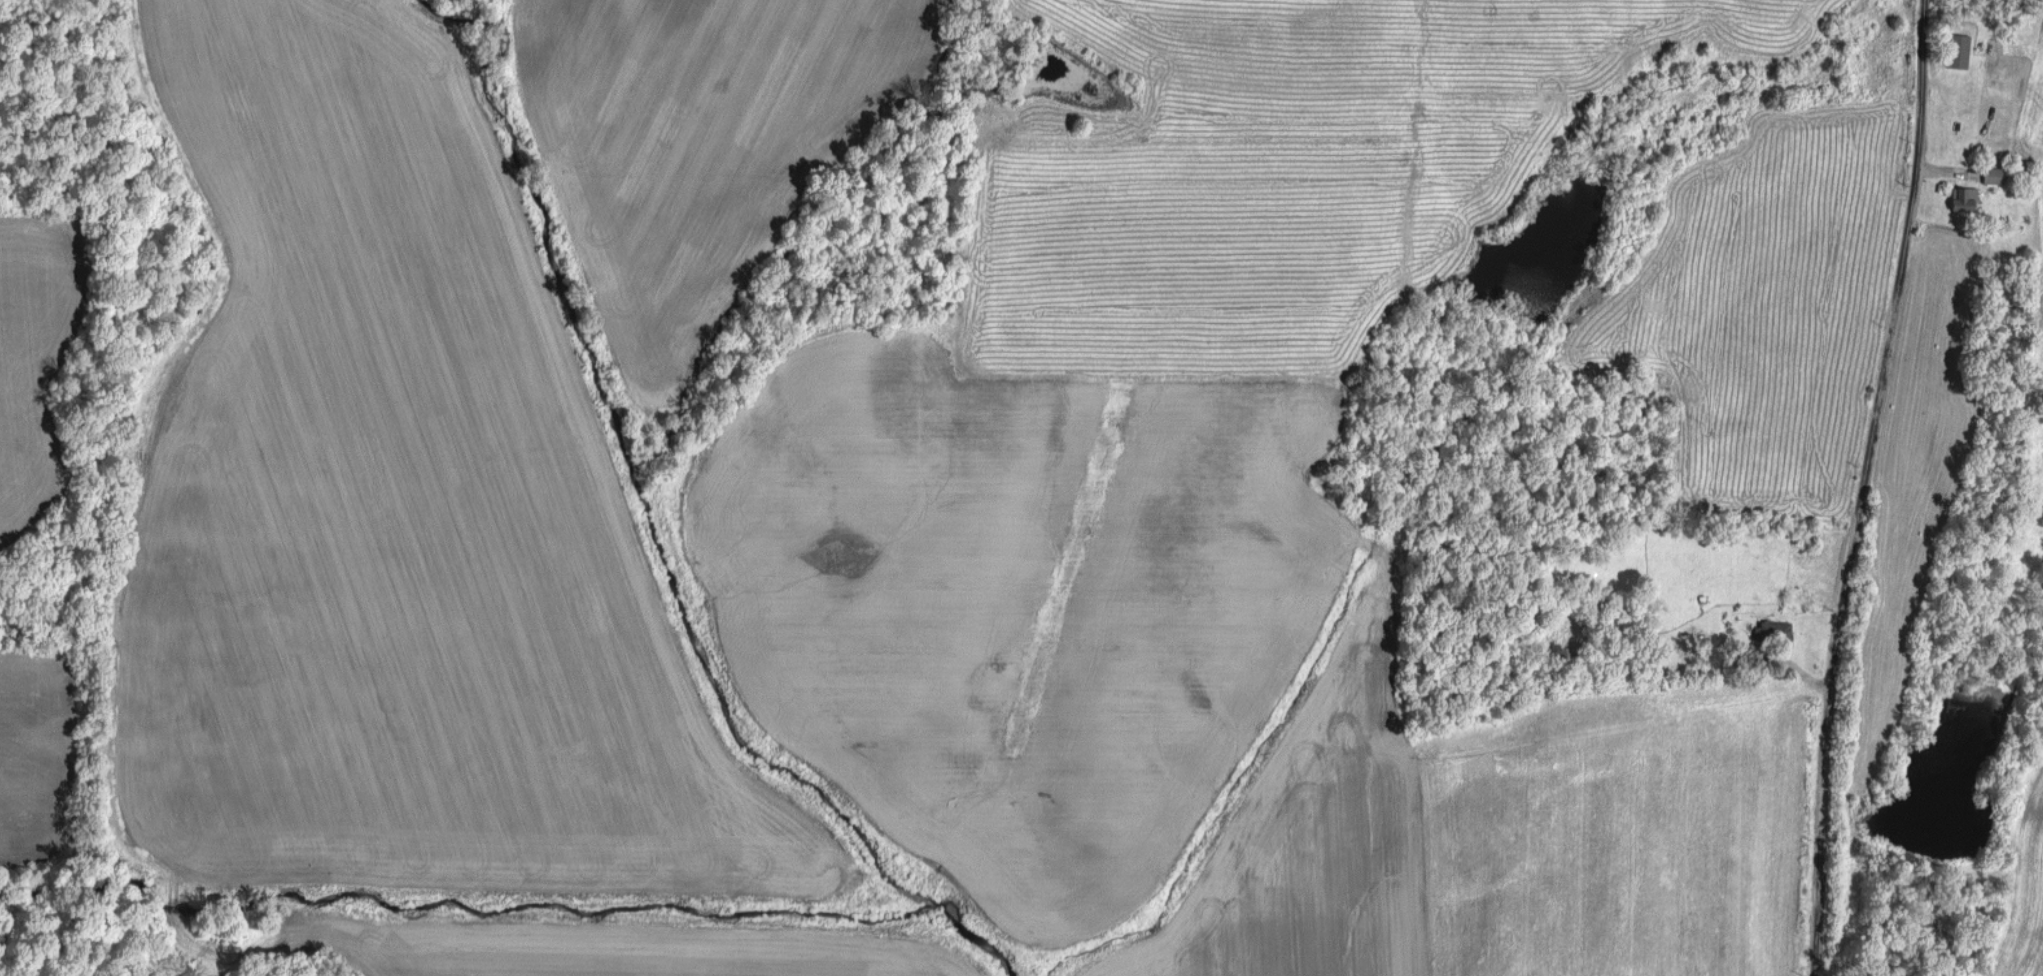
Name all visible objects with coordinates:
building: (1956, 51)
building: (1991, 175)
building: (1962, 200)
road: (1856, 486)
building: (1771, 629)

